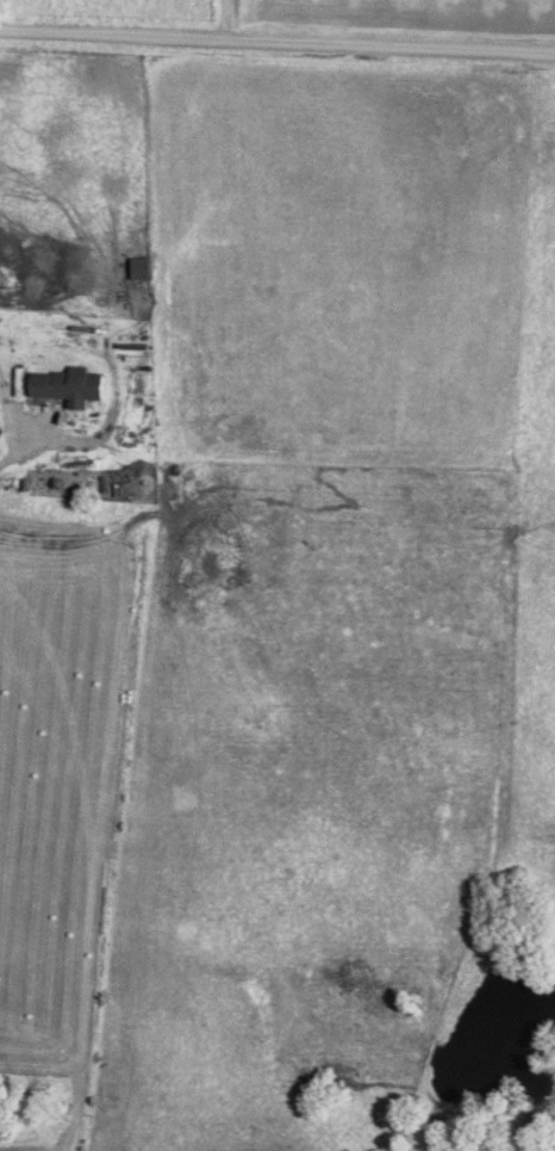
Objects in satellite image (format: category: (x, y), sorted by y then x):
road: (277, 43)
building: (73, 383)
road: (23, 439)

